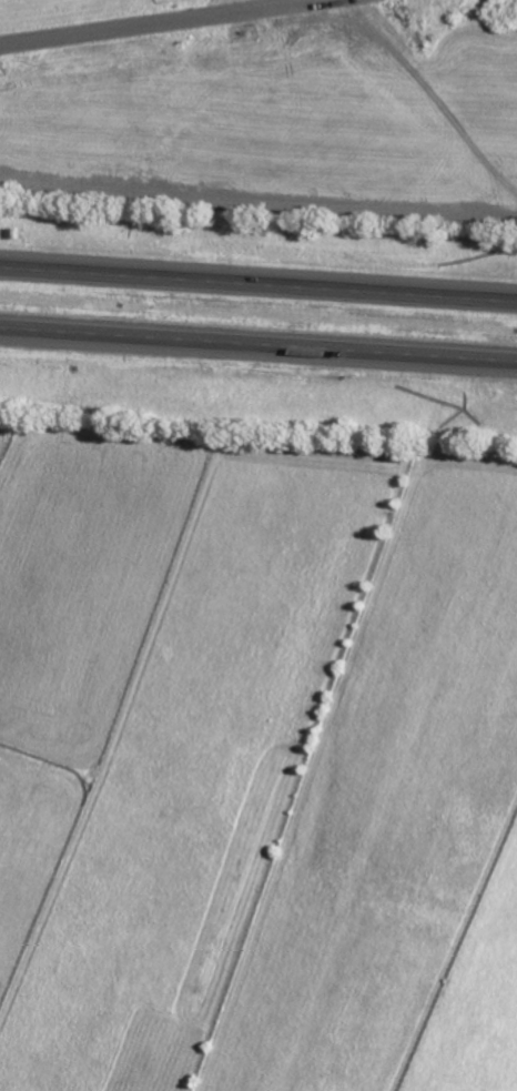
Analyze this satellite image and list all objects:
road: (250, 4)
road: (155, 22)
road: (258, 280)
road: (257, 348)

